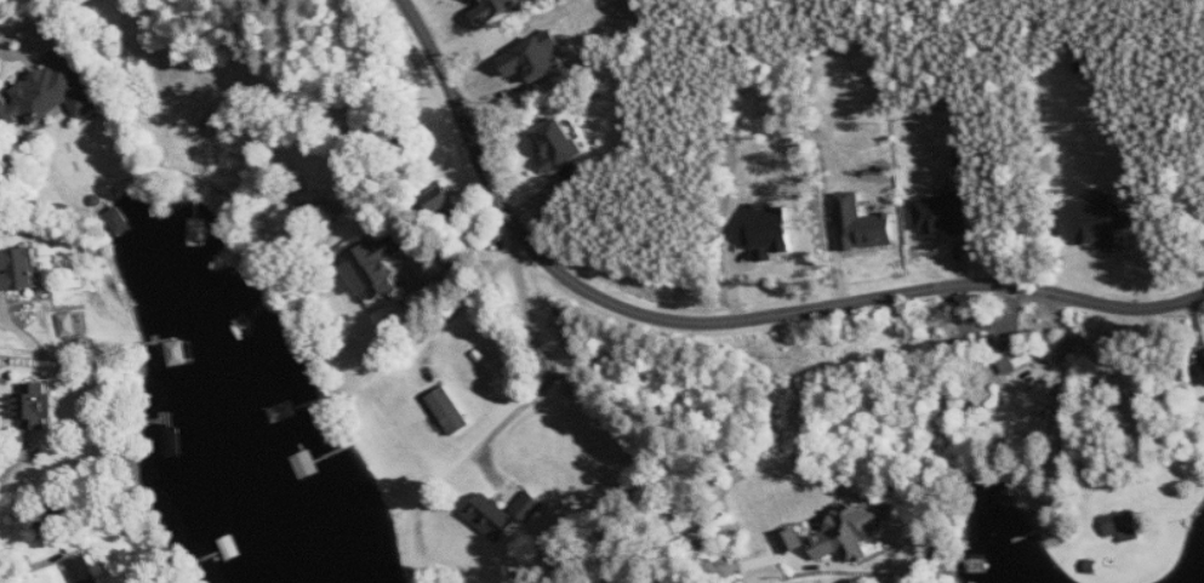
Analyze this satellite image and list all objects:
building: (495, 10)
road: (1, 48)
building: (536, 57)
building: (52, 91)
building: (559, 143)
building: (942, 213)
building: (1101, 222)
building: (862, 224)
building: (771, 234)
road: (464, 247)
building: (376, 267)
building: (19, 269)
road: (464, 304)
road: (720, 318)
building: (107, 319)
building: (1015, 360)
building: (1202, 370)
building: (1039, 399)
building: (38, 405)
building: (450, 410)
road: (510, 413)
road: (595, 421)
building: (529, 507)
building: (491, 516)
road: (571, 520)
building: (1123, 525)
building: (791, 541)
building: (84, 571)
road: (855, 582)

